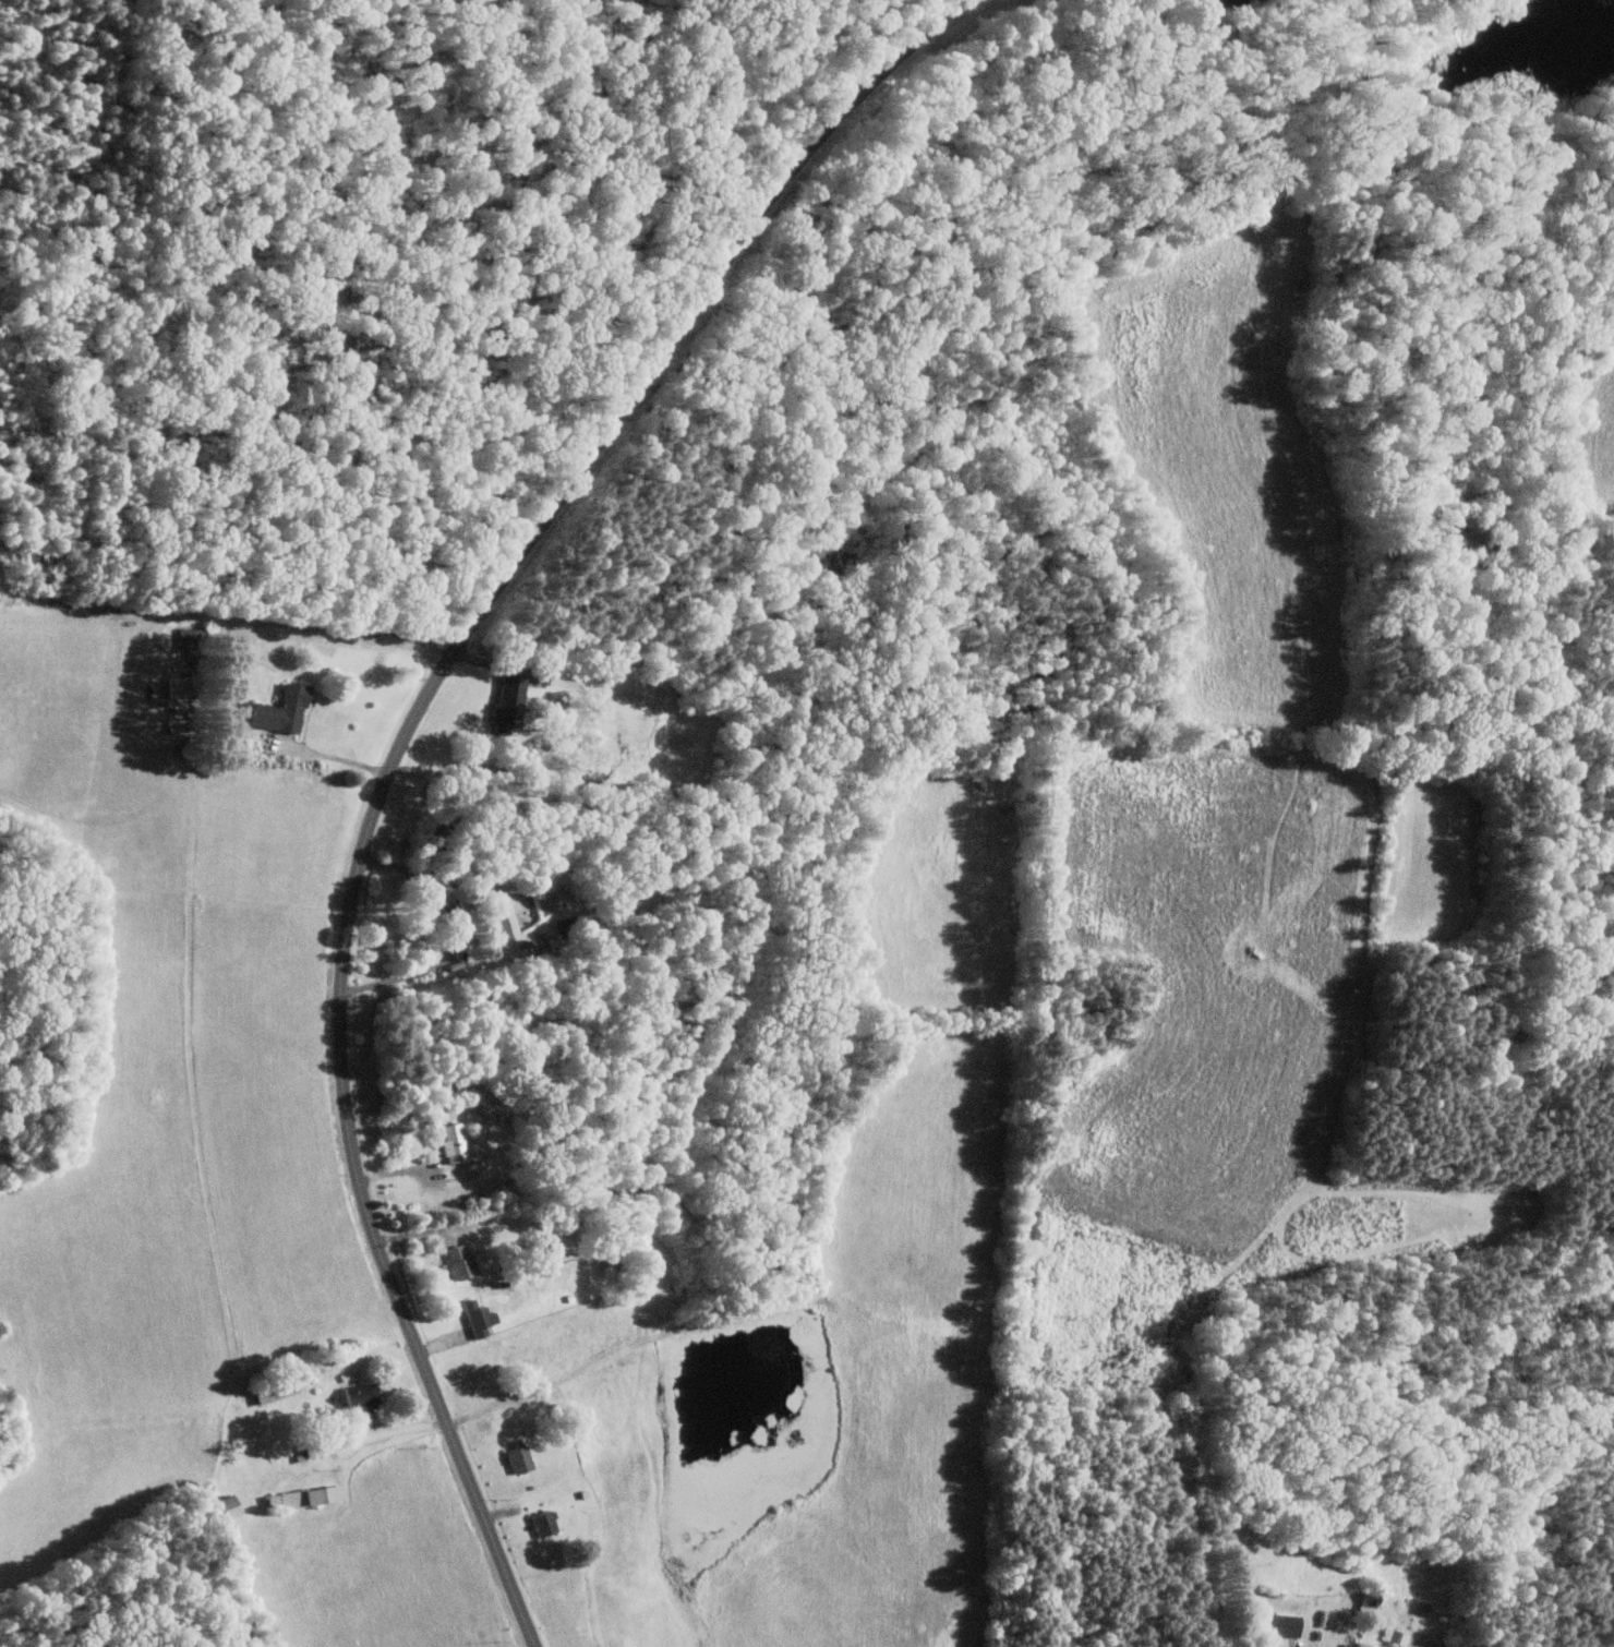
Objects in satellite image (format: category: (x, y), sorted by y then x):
road: (333, 340)
building: (181, 685)
building: (511, 700)
building: (285, 709)
road: (568, 737)
road: (402, 748)
road: (335, 757)
building: (504, 914)
road: (456, 931)
building: (456, 1142)
building: (462, 1263)
building: (481, 1317)
building: (364, 1396)
road: (395, 1429)
building: (521, 1459)
building: (306, 1496)
building: (232, 1506)
building: (547, 1523)
building: (1286, 1624)
road: (1291, 1645)

